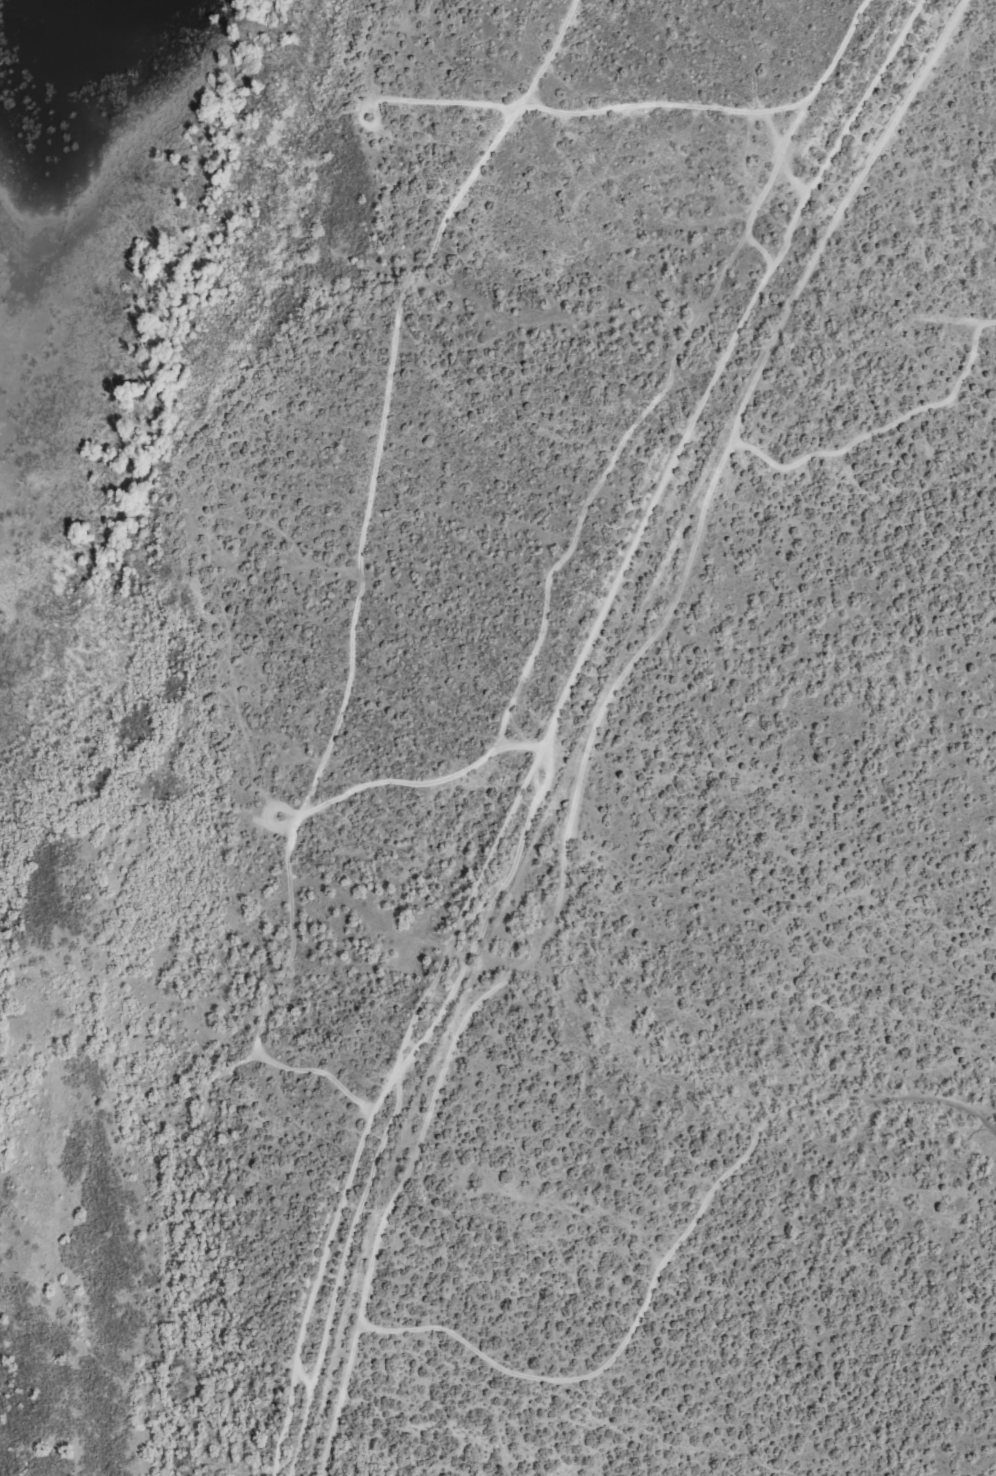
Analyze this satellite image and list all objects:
road: (596, 706)
railway: (557, 721)

